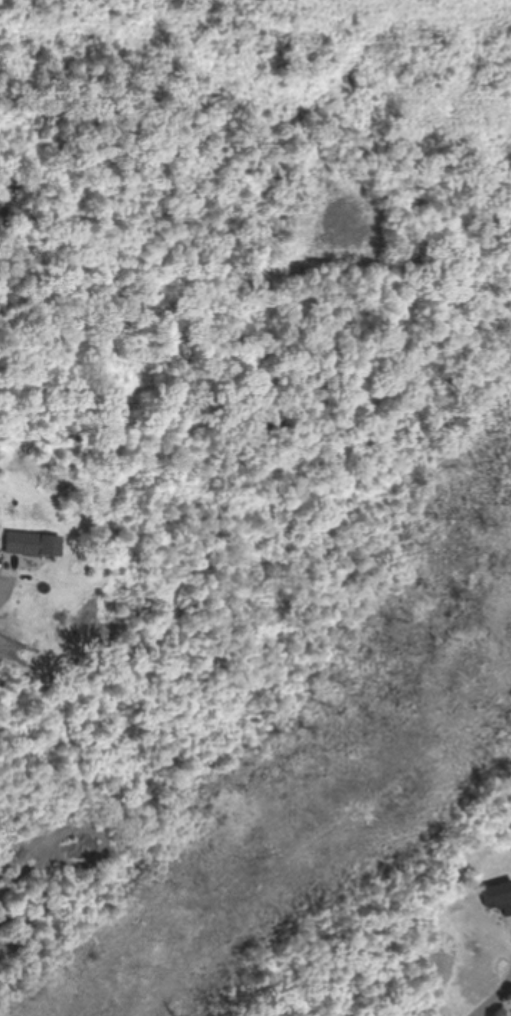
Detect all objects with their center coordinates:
building: (33, 545)
building: (498, 899)

